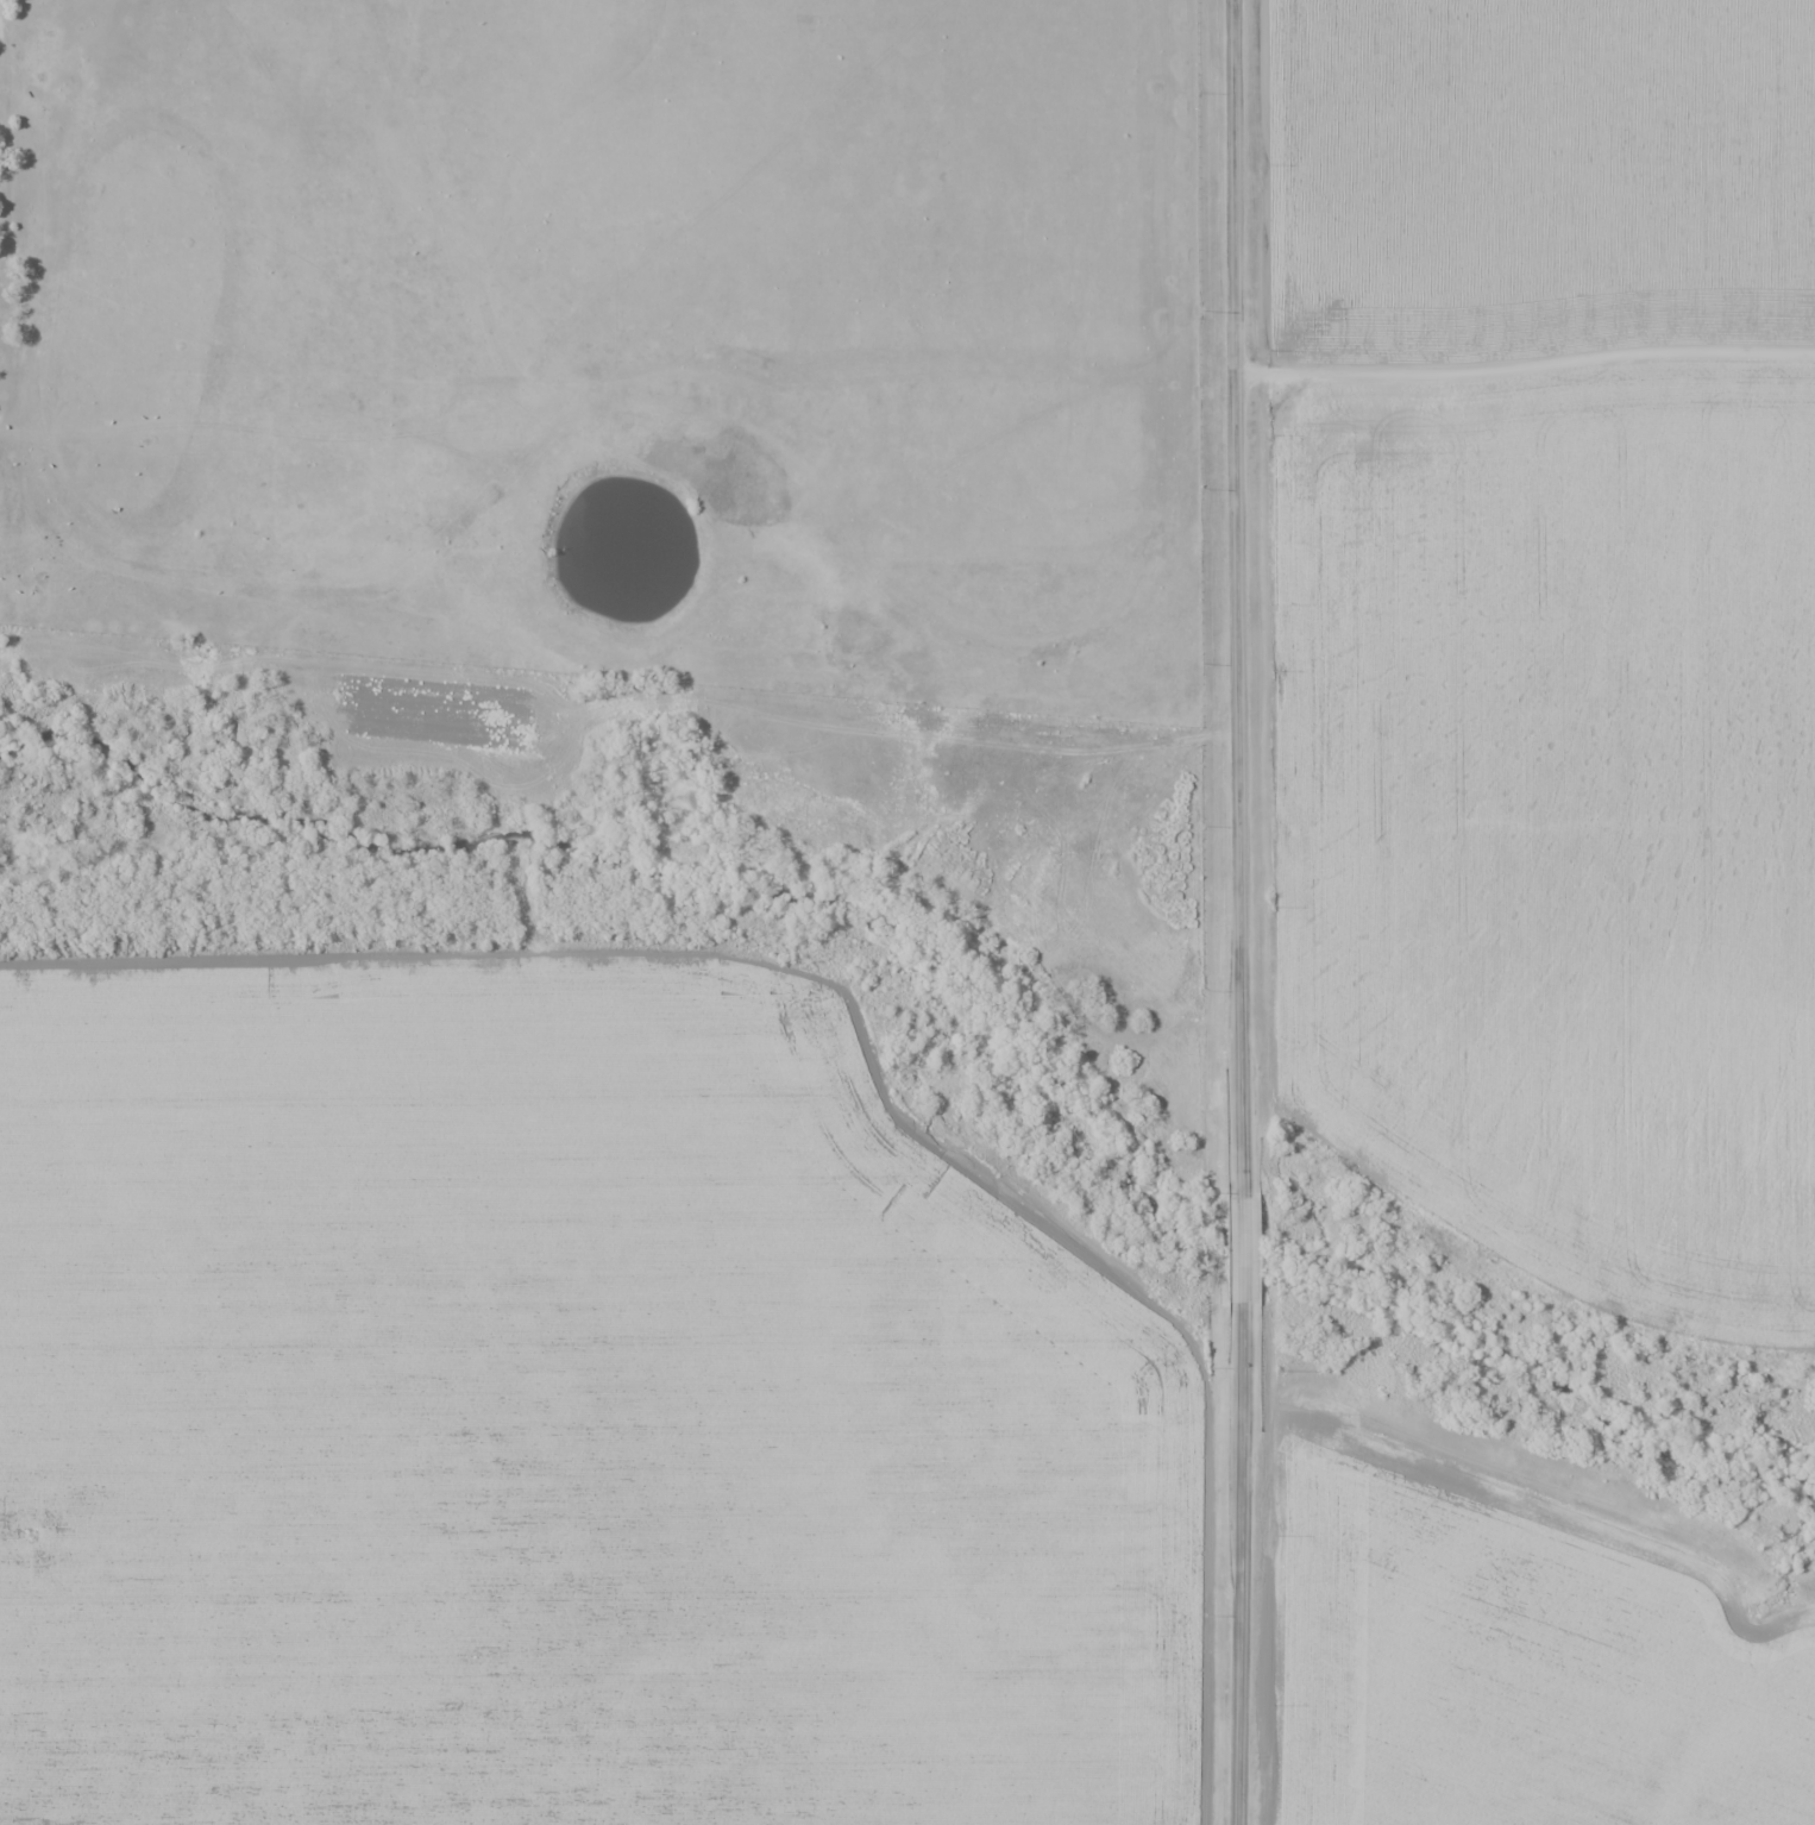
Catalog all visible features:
road: (1527, 366)
road: (1239, 598)
road: (1241, 1249)
road: (1242, 1562)

